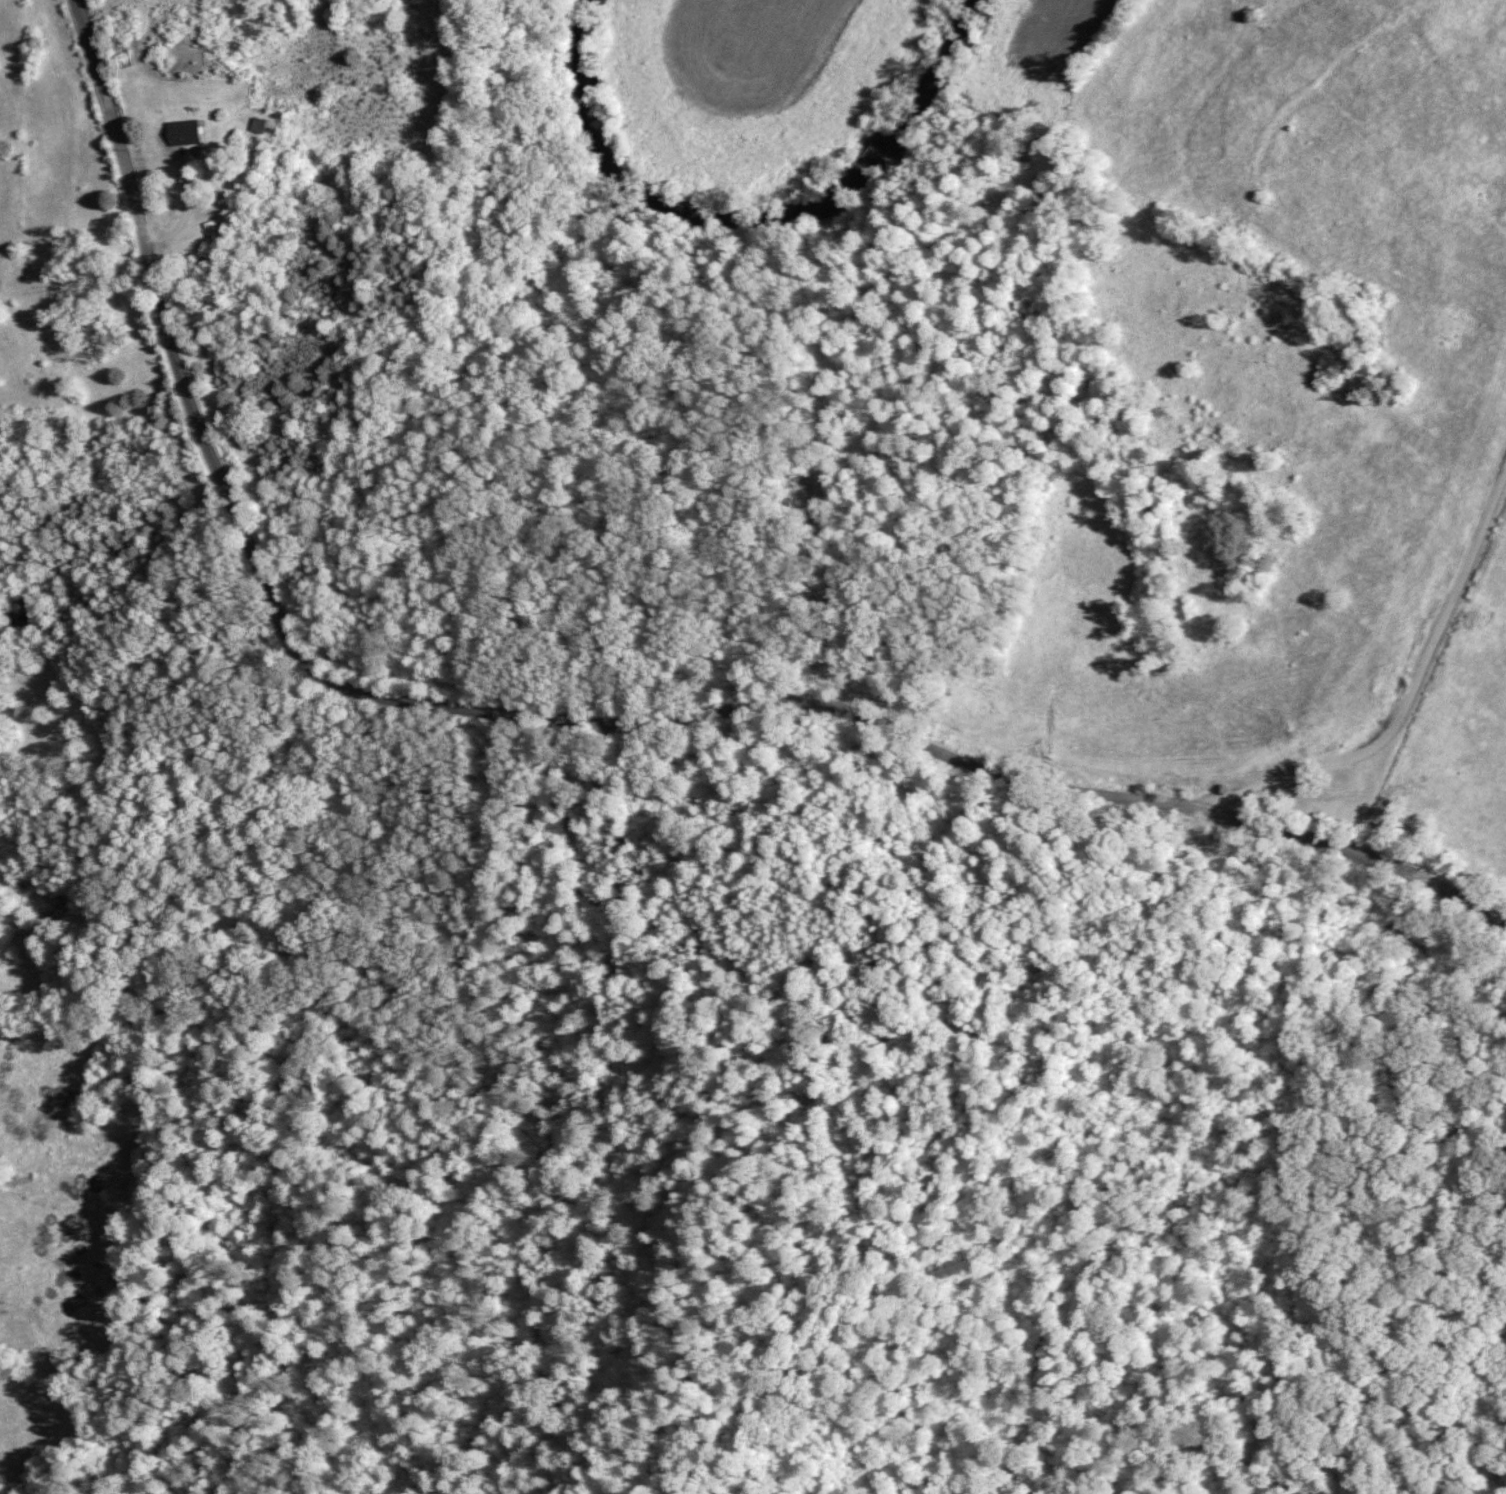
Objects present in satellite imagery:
building: (183, 132)
river: (751, 241)
road: (201, 427)
road: (1002, 772)

